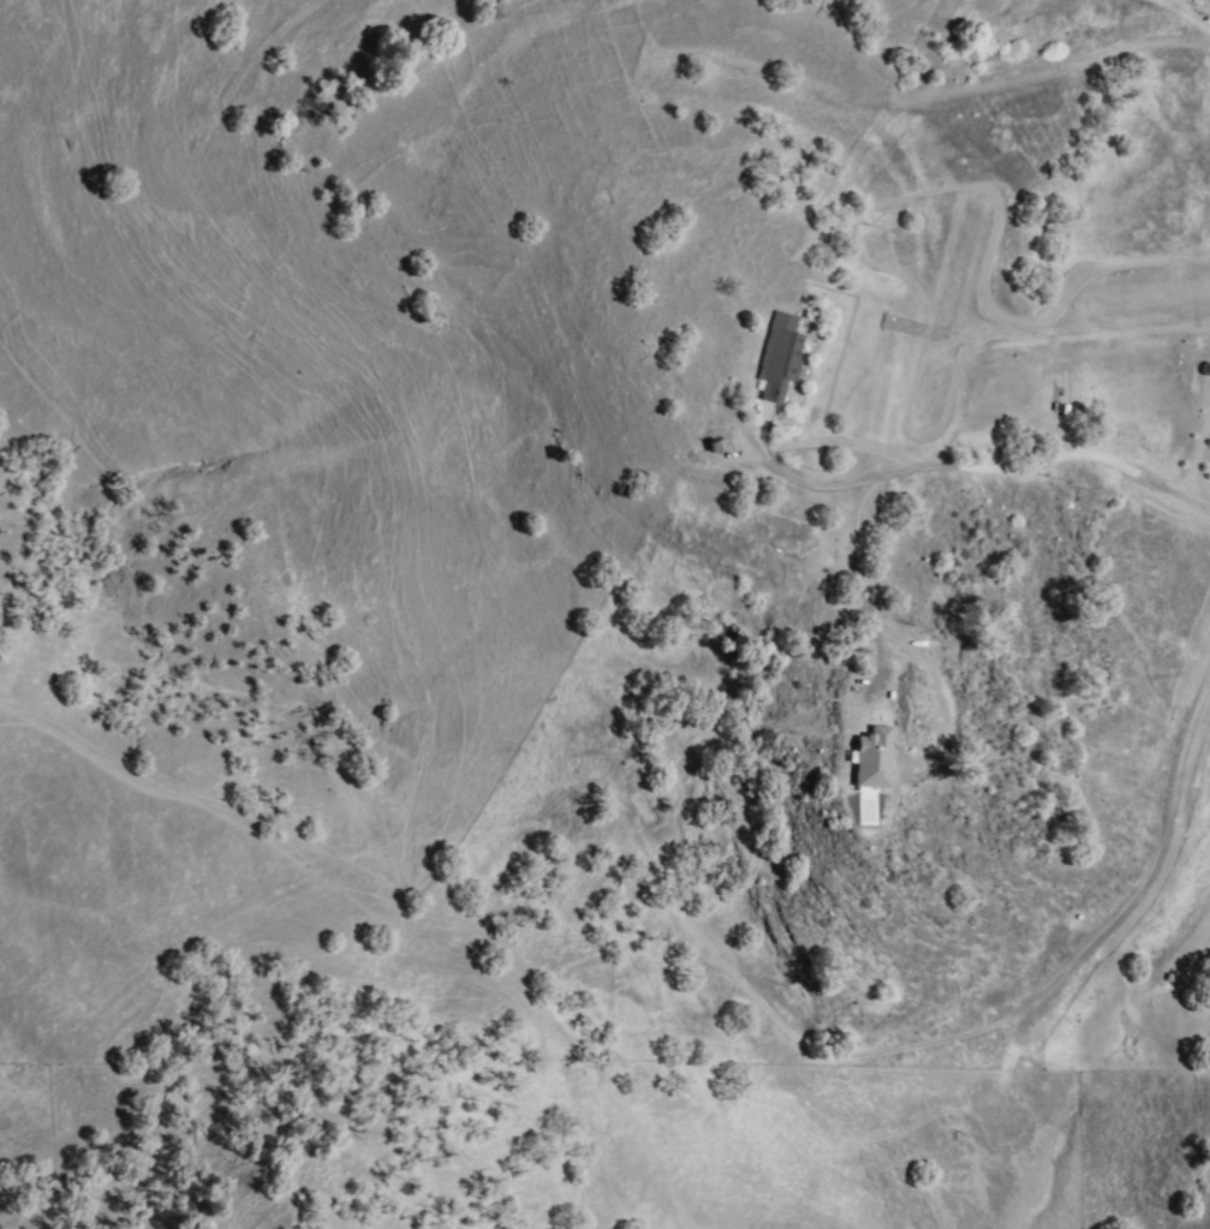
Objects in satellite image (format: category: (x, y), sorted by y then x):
building: (781, 359)
road: (934, 467)
road: (798, 481)
building: (874, 759)
road: (1157, 853)

